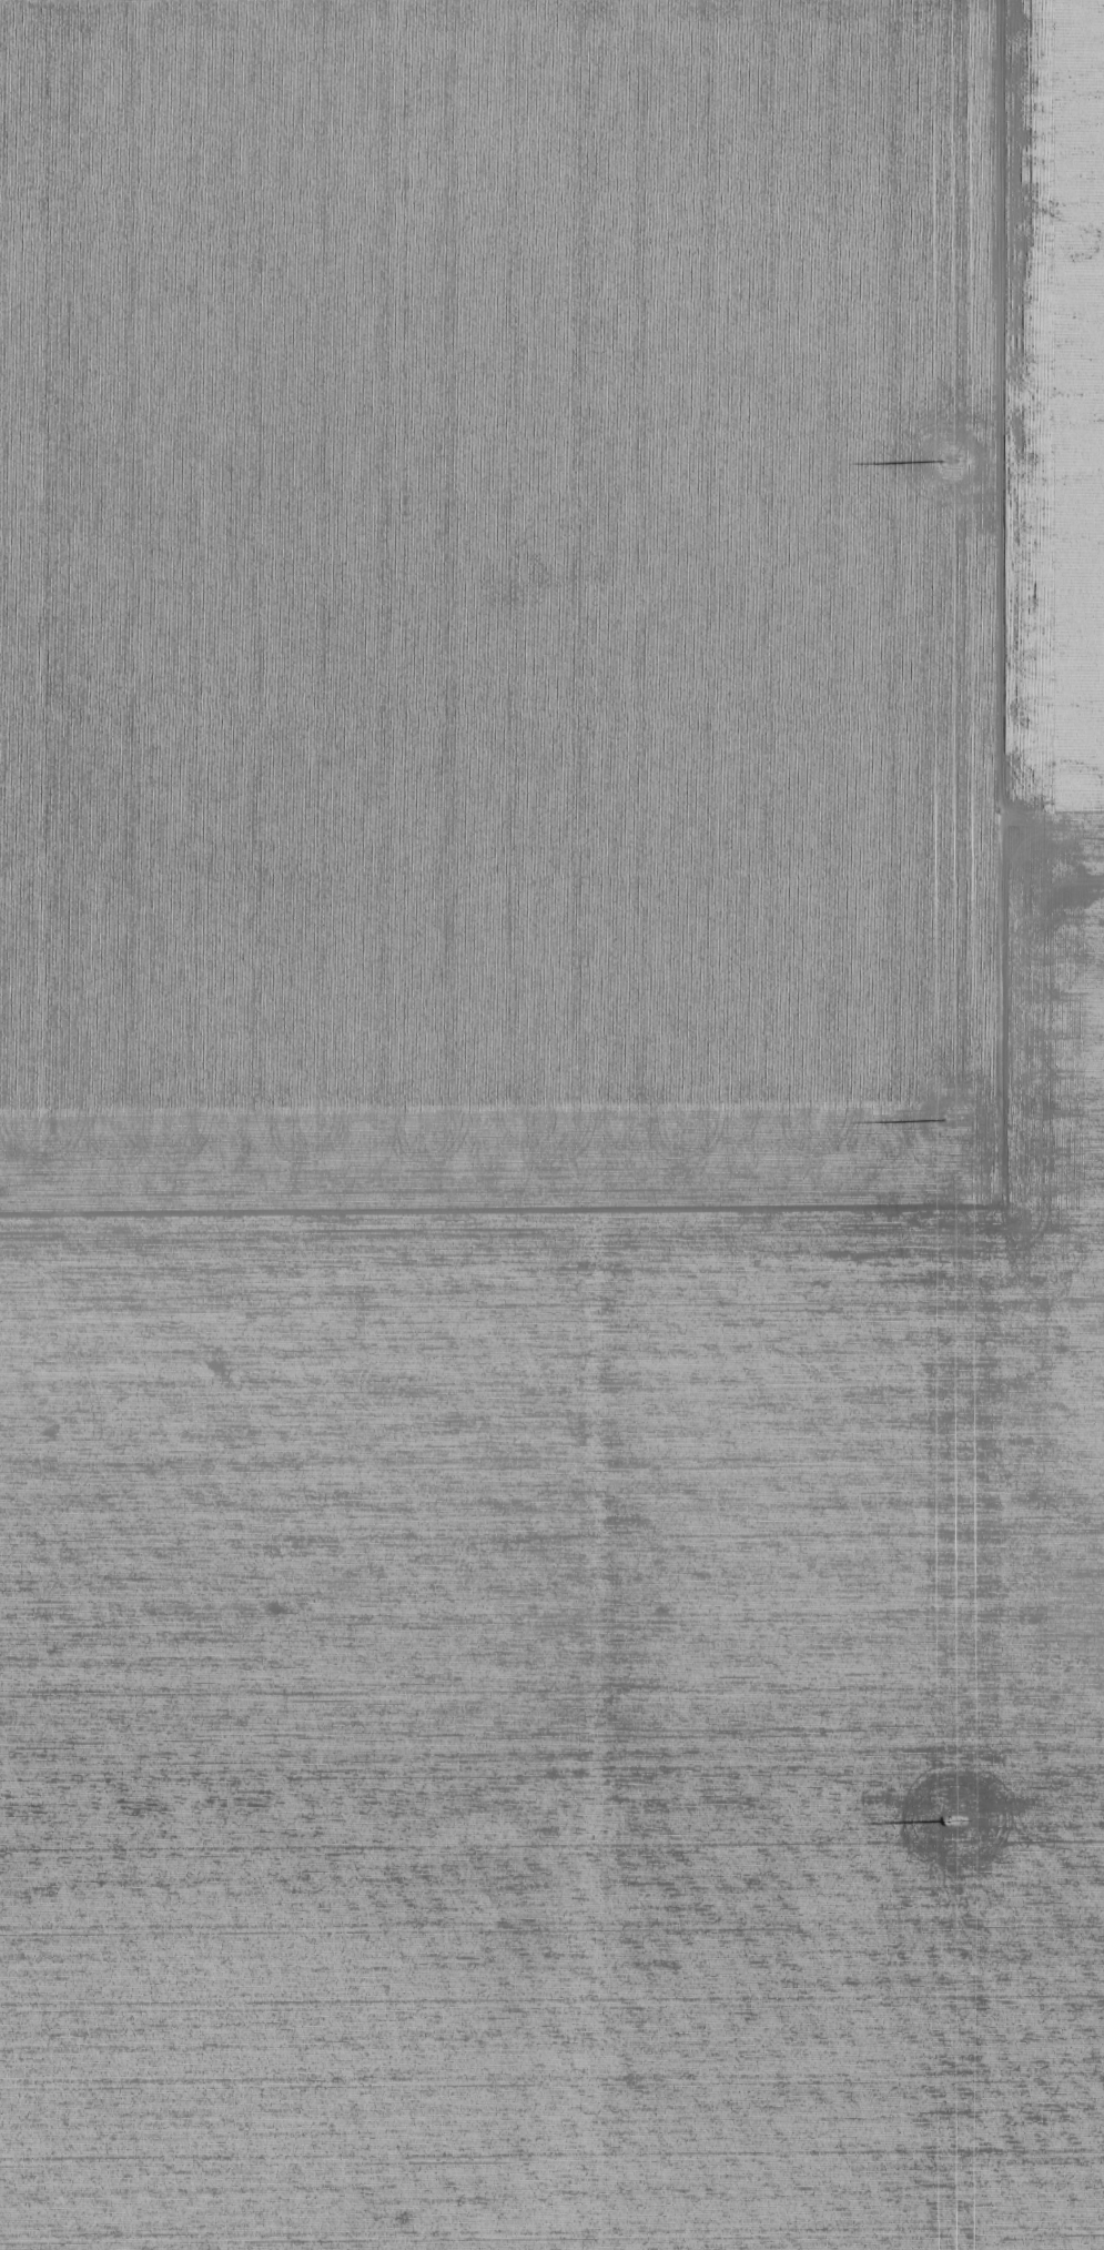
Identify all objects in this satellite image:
road: (1004, 189)
power tower: (946, 458)
power tower: (949, 1116)
power tower: (951, 1817)

